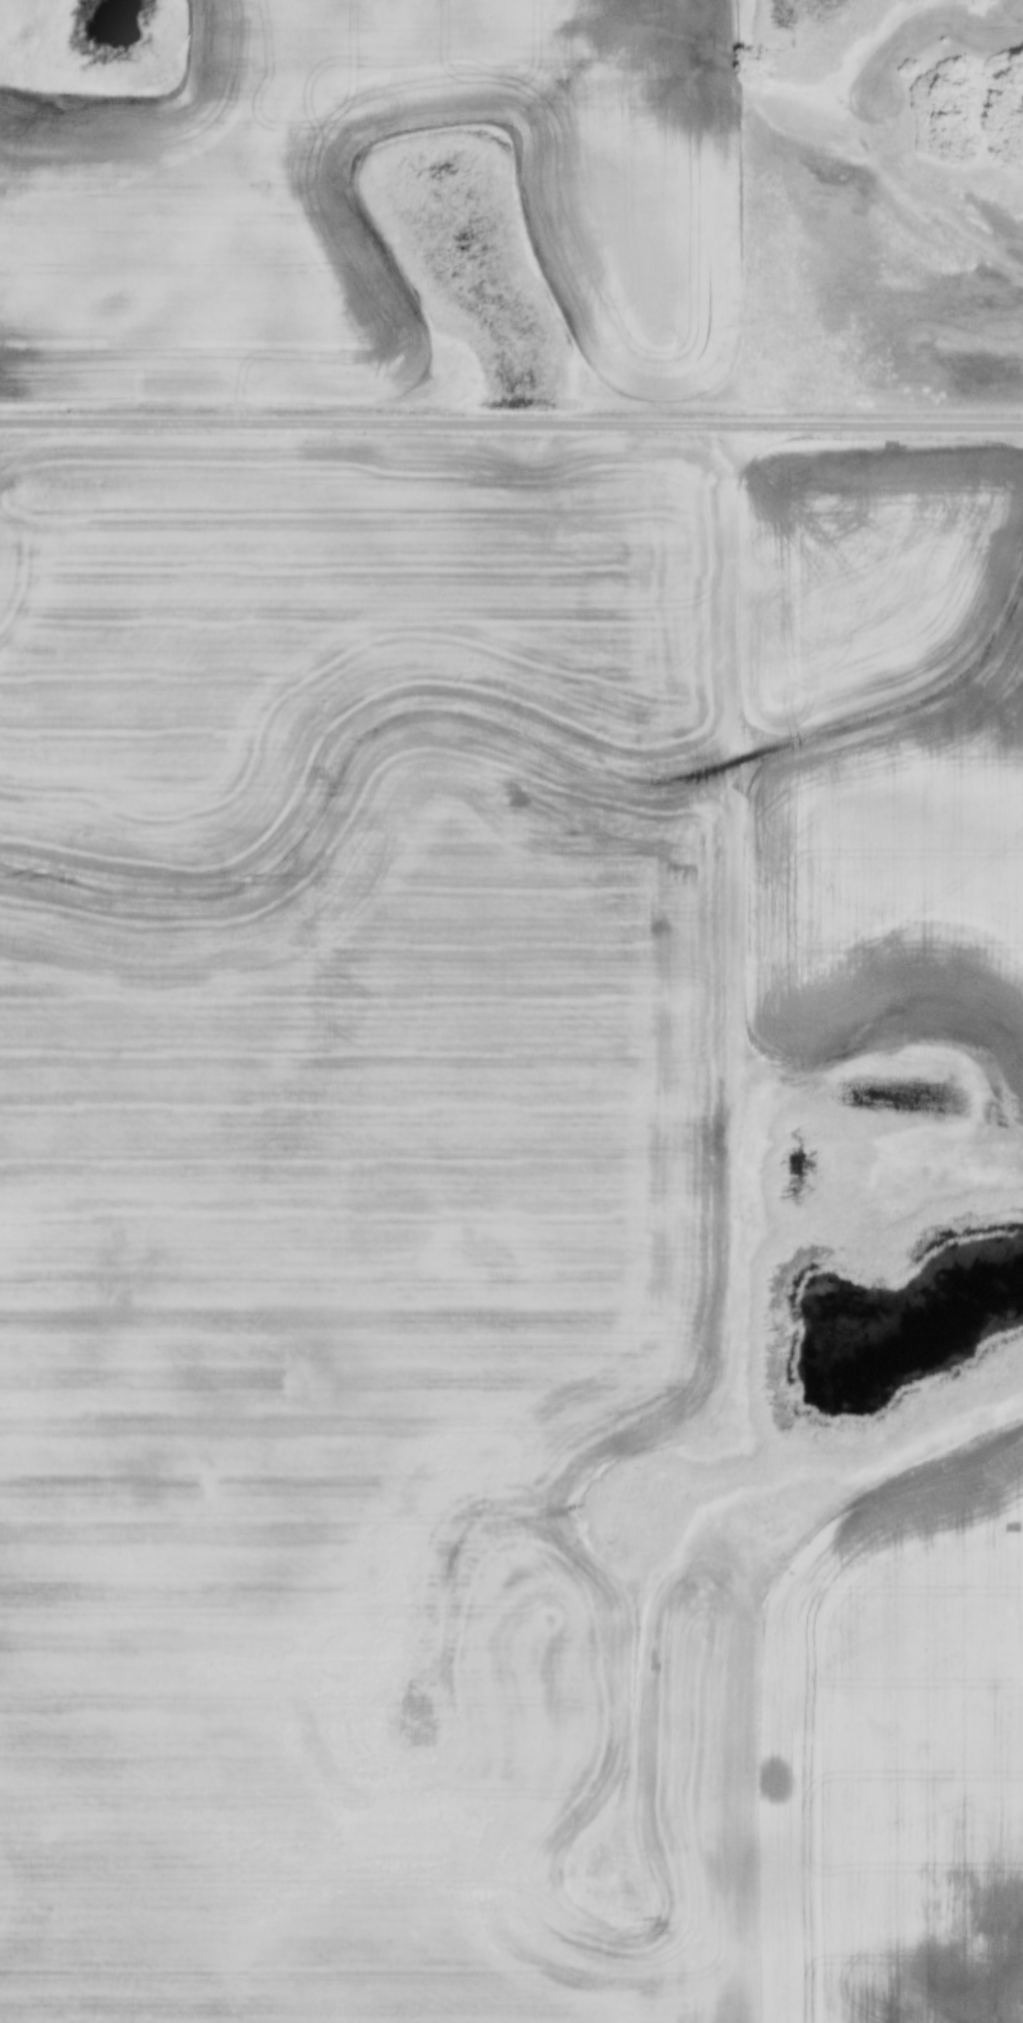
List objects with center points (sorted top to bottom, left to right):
road: (511, 426)

